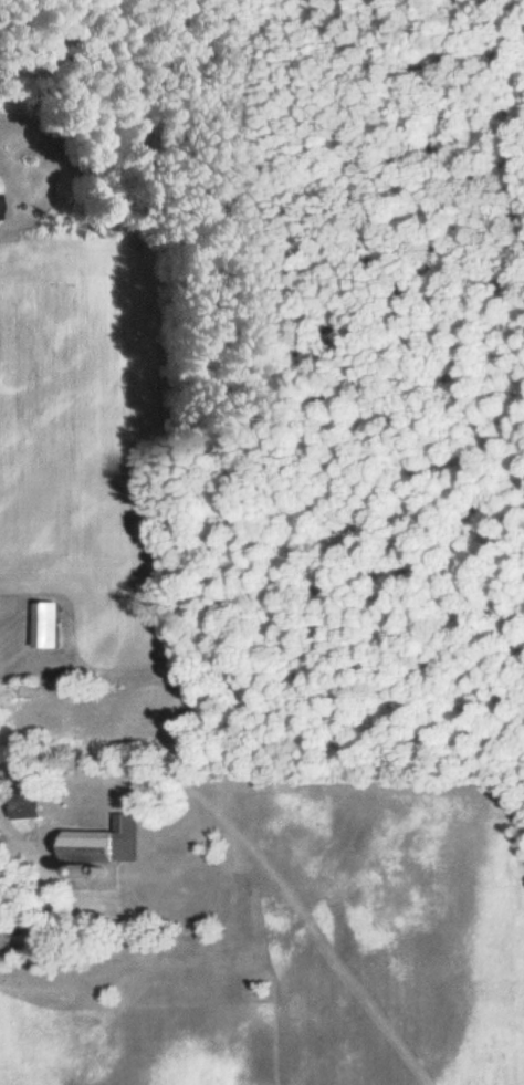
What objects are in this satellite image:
building: (49, 624)
building: (105, 843)

